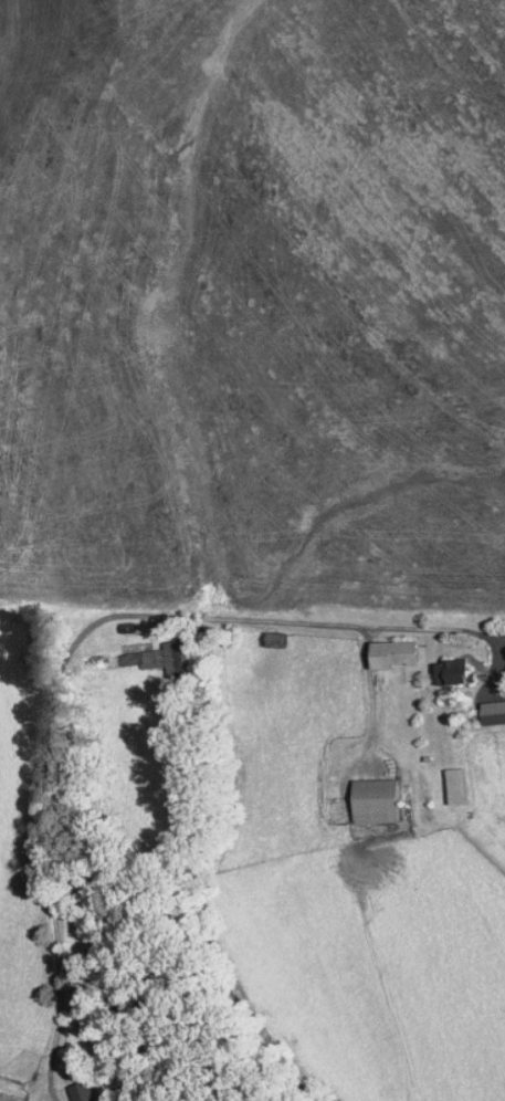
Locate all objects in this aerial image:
building: (377, 647)
building: (144, 651)
road: (73, 653)
building: (499, 659)
building: (438, 664)
building: (485, 705)
building: (441, 778)
building: (360, 794)
building: (67, 1088)

